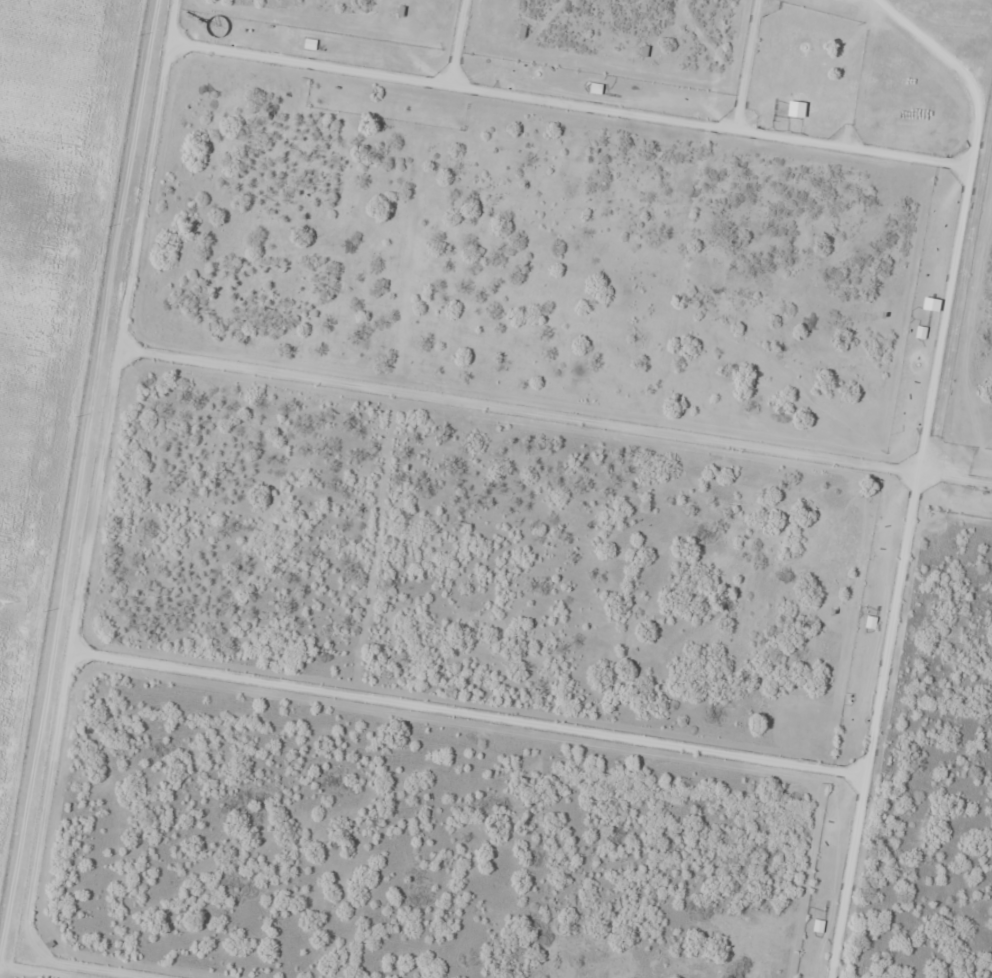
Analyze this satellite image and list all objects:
building: (310, 44)
building: (921, 332)
road: (72, 438)
airport: (532, 502)
building: (871, 622)
building: (819, 926)

